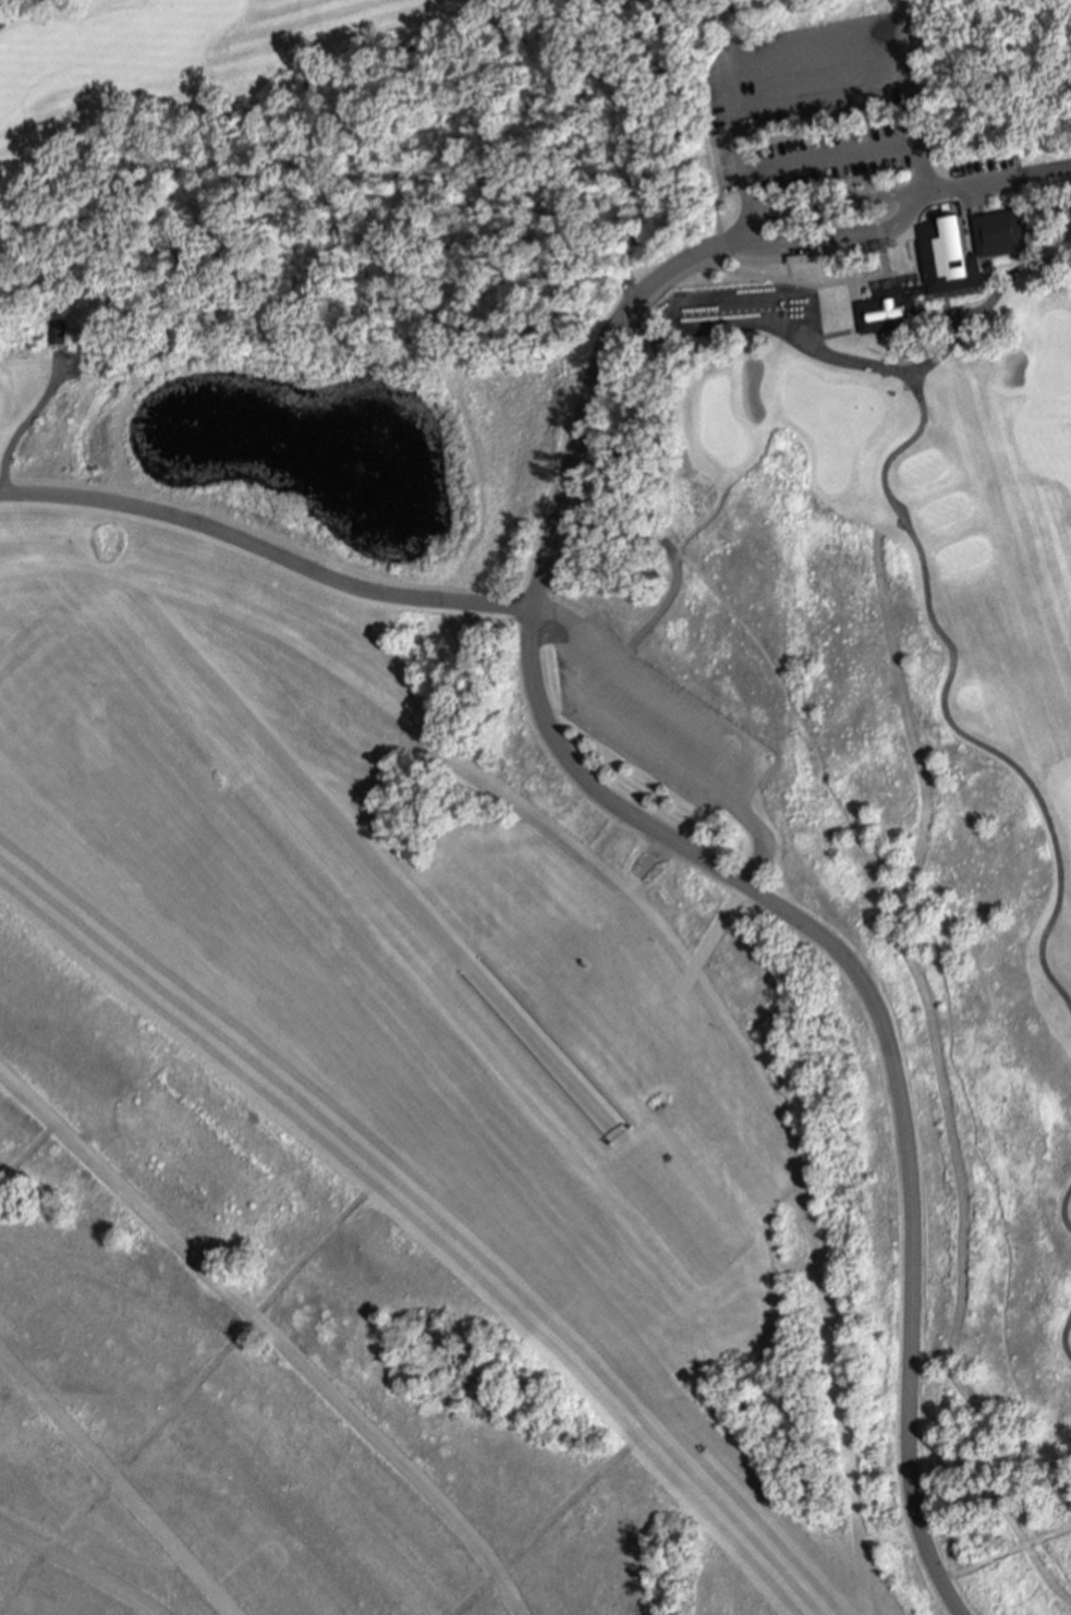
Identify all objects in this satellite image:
road: (17, 11)
road: (609, 13)
road: (610, 36)
road: (801, 47)
road: (816, 90)
parking lot: (812, 105)
road: (670, 133)
road: (827, 156)
road: (862, 157)
road: (572, 165)
parking lot: (983, 168)
road: (989, 179)
road: (716, 198)
road: (903, 209)
road: (1069, 252)
building: (945, 263)
road: (784, 271)
road: (753, 276)
parking lot: (739, 307)
road: (632, 315)
road: (851, 324)
building: (56, 335)
road: (883, 368)
road: (26, 415)
park: (828, 421)
park: (719, 425)
park: (650, 518)
road: (265, 550)
road: (940, 702)
parking lot: (653, 721)
road: (747, 776)
road: (352, 782)
road: (758, 841)
road: (393, 879)
road: (732, 881)
road: (927, 904)
road: (715, 927)
road: (690, 969)
track: (395, 1061)
road: (26, 1151)
road: (425, 1176)
road: (1063, 1206)
road: (333, 1221)
road: (1063, 1334)
track: (269, 1335)
road: (267, 1336)
road: (636, 1430)
track: (115, 1480)
road: (115, 1483)
road: (888, 1537)
track: (80, 1567)
road: (78, 1568)

